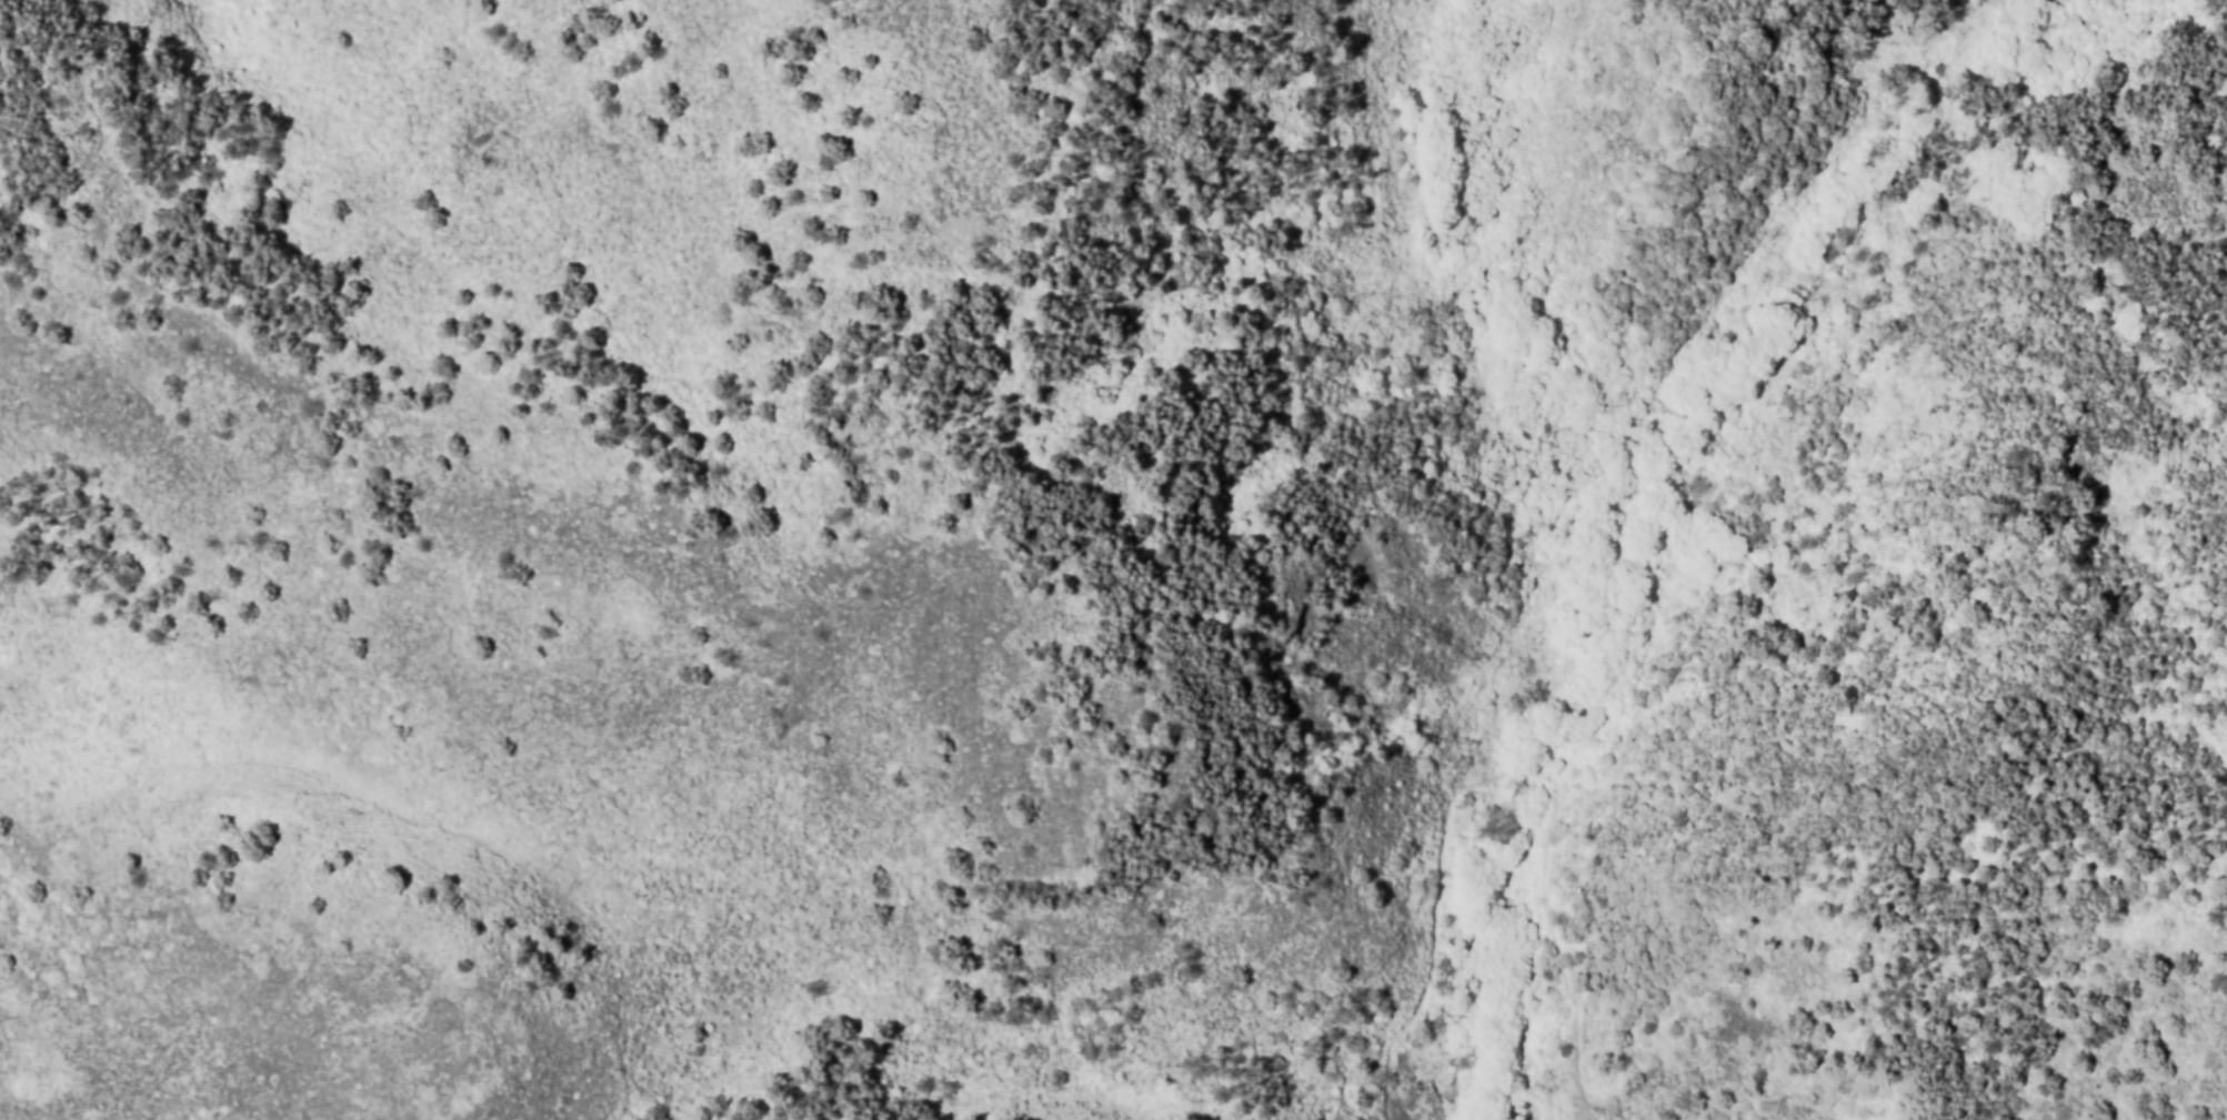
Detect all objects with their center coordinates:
road: (1512, 778)

